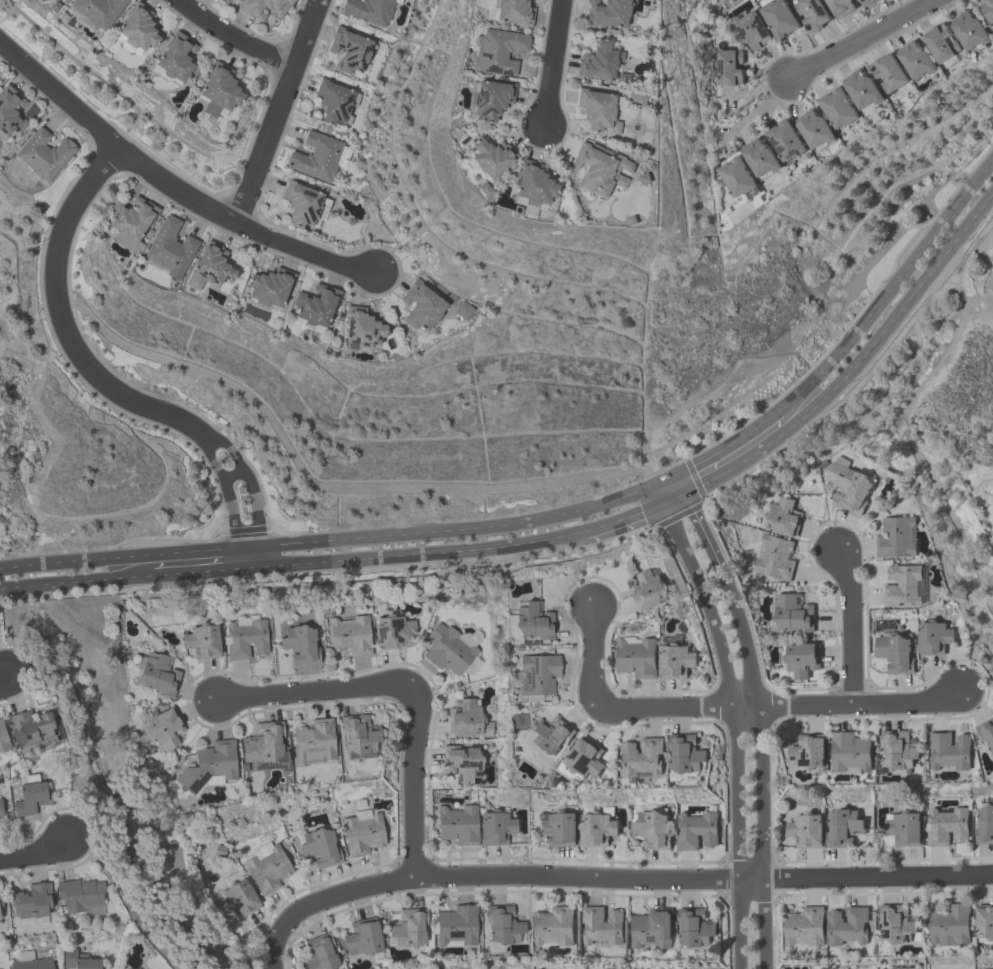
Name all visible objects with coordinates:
building: (61, 0)
building: (866, 1)
building: (226, 2)
building: (840, 6)
building: (264, 8)
building: (368, 10)
building: (987, 10)
building: (513, 12)
building: (99, 13)
building: (606, 13)
building: (812, 13)
building: (778, 17)
building: (749, 29)
building: (969, 30)
building: (139, 32)
road: (233, 39)
road: (858, 39)
building: (940, 42)
building: (499, 50)
building: (648, 51)
building: (352, 52)
building: (914, 59)
building: (178, 61)
building: (598, 62)
road: (552, 63)
building: (728, 66)
building: (888, 72)
building: (622, 78)
building: (861, 89)
building: (221, 92)
building: (489, 99)
building: (633, 100)
building: (336, 104)
building: (837, 108)
road: (757, 110)
building: (597, 111)
road: (277, 112)
building: (11, 113)
building: (813, 129)
building: (785, 140)
building: (46, 155)
building: (489, 157)
building: (758, 157)
building: (318, 159)
building: (599, 168)
building: (644, 178)
building: (736, 178)
building: (532, 184)
road: (174, 185)
building: (482, 189)
building: (304, 206)
building: (131, 225)
building: (171, 250)
building: (215, 268)
road: (890, 289)
building: (269, 290)
building: (315, 309)
building: (423, 310)
building: (464, 312)
building: (360, 332)
road: (853, 368)
road: (102, 380)
road: (723, 447)
building: (847, 484)
road: (324, 488)
road: (670, 489)
building: (877, 500)
road: (629, 516)
building: (782, 517)
road: (702, 529)
building: (895, 537)
road: (335, 542)
road: (417, 555)
building: (774, 557)
road: (201, 573)
road: (76, 584)
building: (902, 586)
building: (647, 590)
building: (792, 612)
building: (532, 622)
road: (851, 625)
building: (395, 633)
building: (352, 635)
building: (932, 637)
building: (247, 641)
building: (203, 643)
building: (301, 646)
building: (454, 651)
building: (894, 653)
road: (595, 657)
building: (635, 657)
building: (801, 658)
building: (674, 661)
building: (537, 674)
road: (4, 677)
building: (159, 677)
road: (310, 691)
road: (779, 704)
building: (468, 722)
road: (736, 728)
building: (32, 729)
building: (165, 730)
building: (986, 733)
building: (549, 736)
building: (361, 738)
building: (4, 740)
building: (316, 742)
building: (266, 744)
building: (898, 749)
building: (949, 750)
building: (850, 751)
building: (808, 752)
building: (685, 753)
building: (642, 756)
building: (581, 760)
road: (761, 765)
building: (463, 766)
building: (210, 767)
road: (411, 781)
building: (32, 801)
building: (1, 813)
building: (458, 824)
building: (945, 825)
building: (984, 825)
building: (842, 827)
building: (558, 828)
building: (903, 828)
building: (595, 829)
building: (651, 830)
building: (695, 830)
building: (805, 830)
building: (362, 832)
building: (320, 848)
road: (33, 853)
building: (268, 868)
road: (703, 878)
building: (82, 898)
road: (322, 899)
building: (238, 900)
building: (32, 904)
building: (1, 914)
building: (984, 921)
building: (897, 924)
building: (950, 924)
building: (501, 925)
building: (601, 925)
building: (553, 926)
building: (847, 926)
building: (695, 927)
building: (804, 927)
building: (458, 928)
building: (409, 929)
building: (652, 929)
building: (365, 940)
building: (320, 954)
building: (83, 962)
building: (32, 963)
building: (984, 968)

